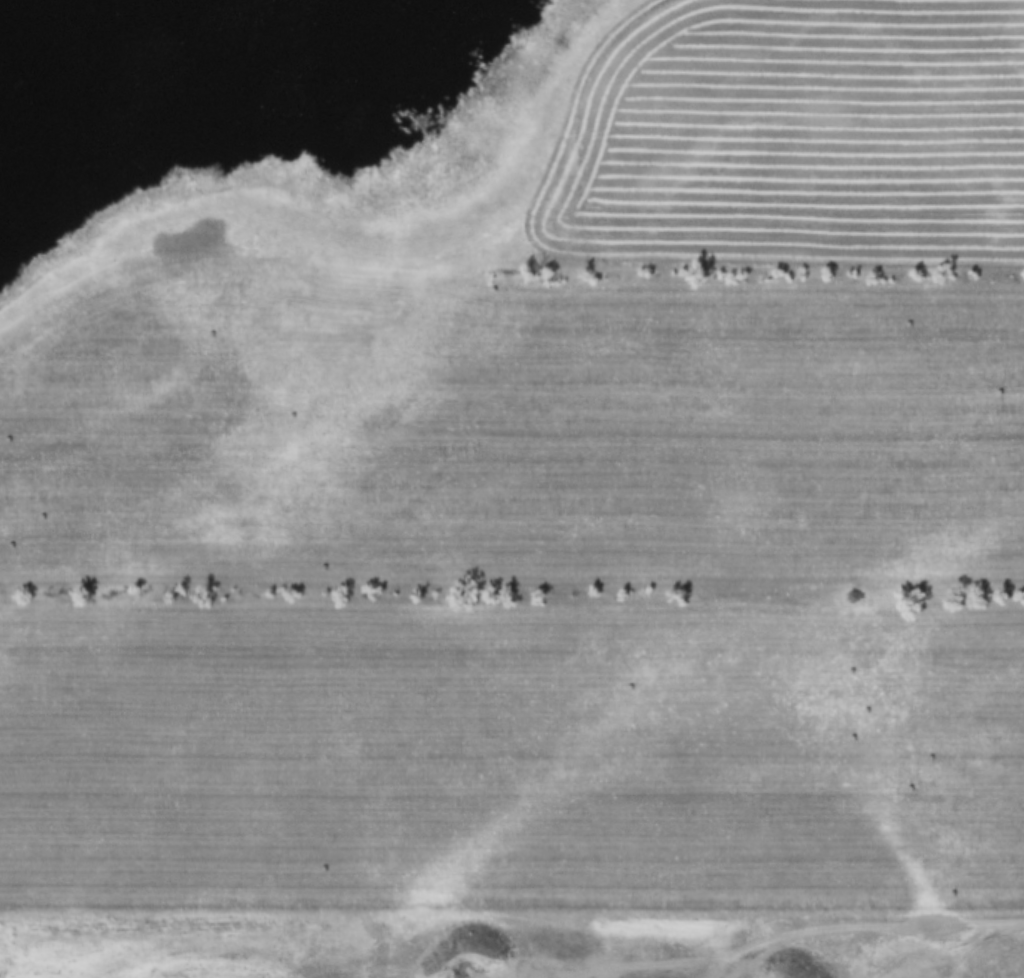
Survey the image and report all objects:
quarry: (966, 936)

